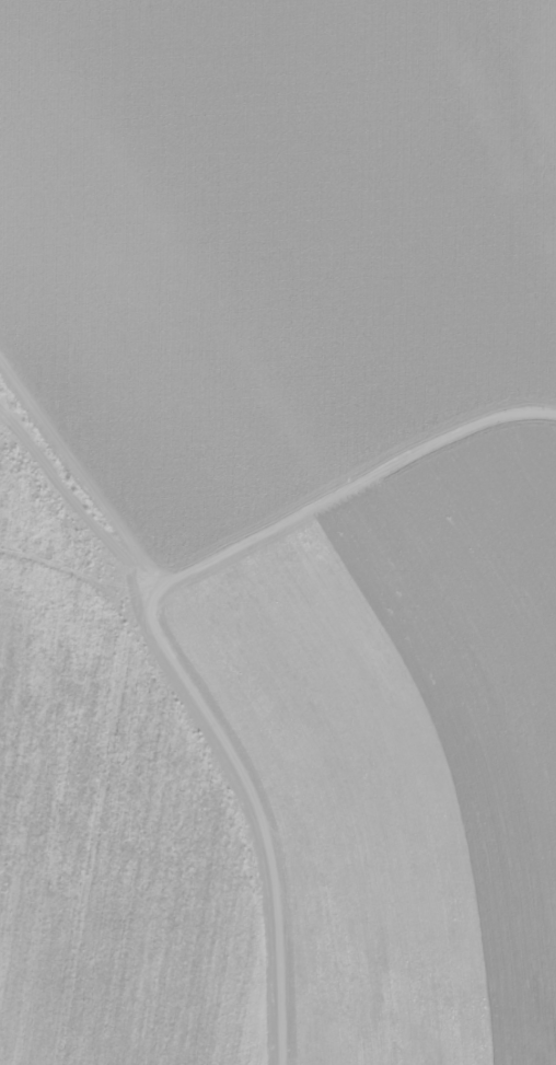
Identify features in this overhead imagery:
road: (243, 539)

